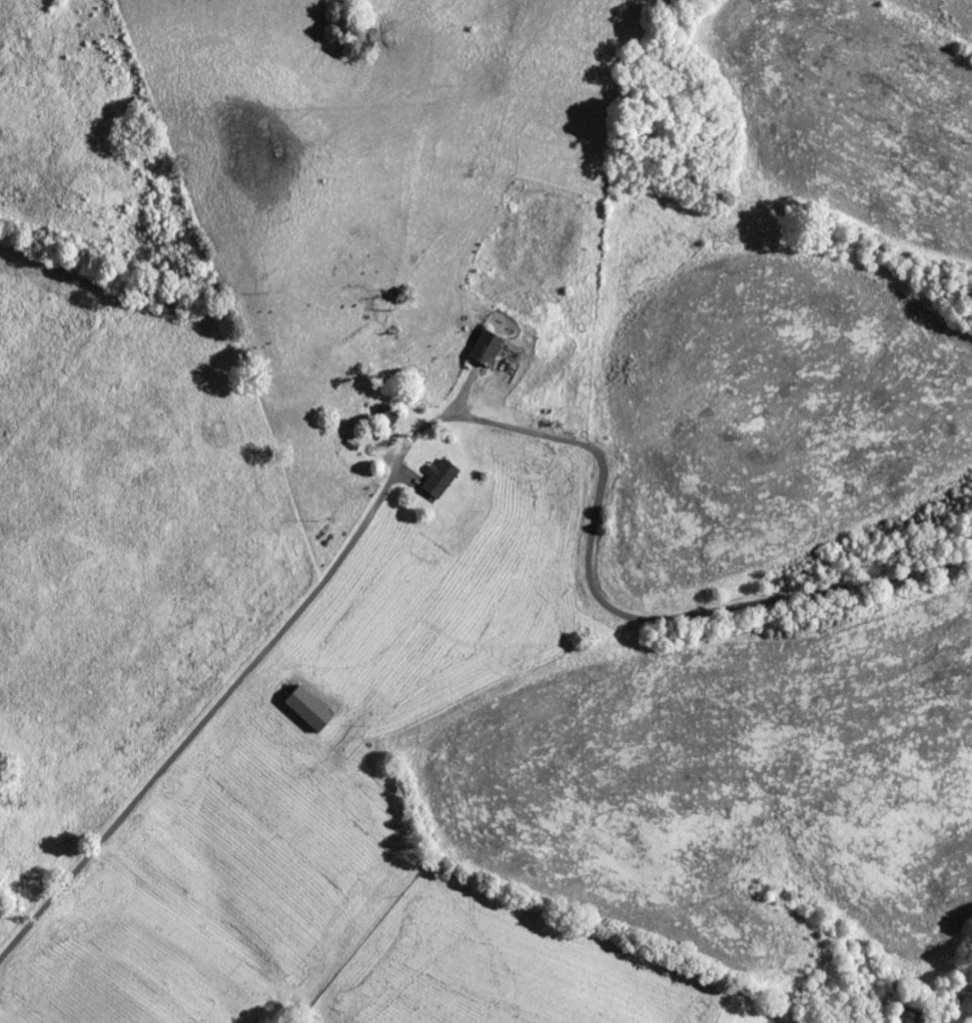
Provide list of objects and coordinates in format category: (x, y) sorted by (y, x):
building: (485, 347)
building: (439, 477)
road: (699, 613)
road: (274, 640)
building: (308, 708)

